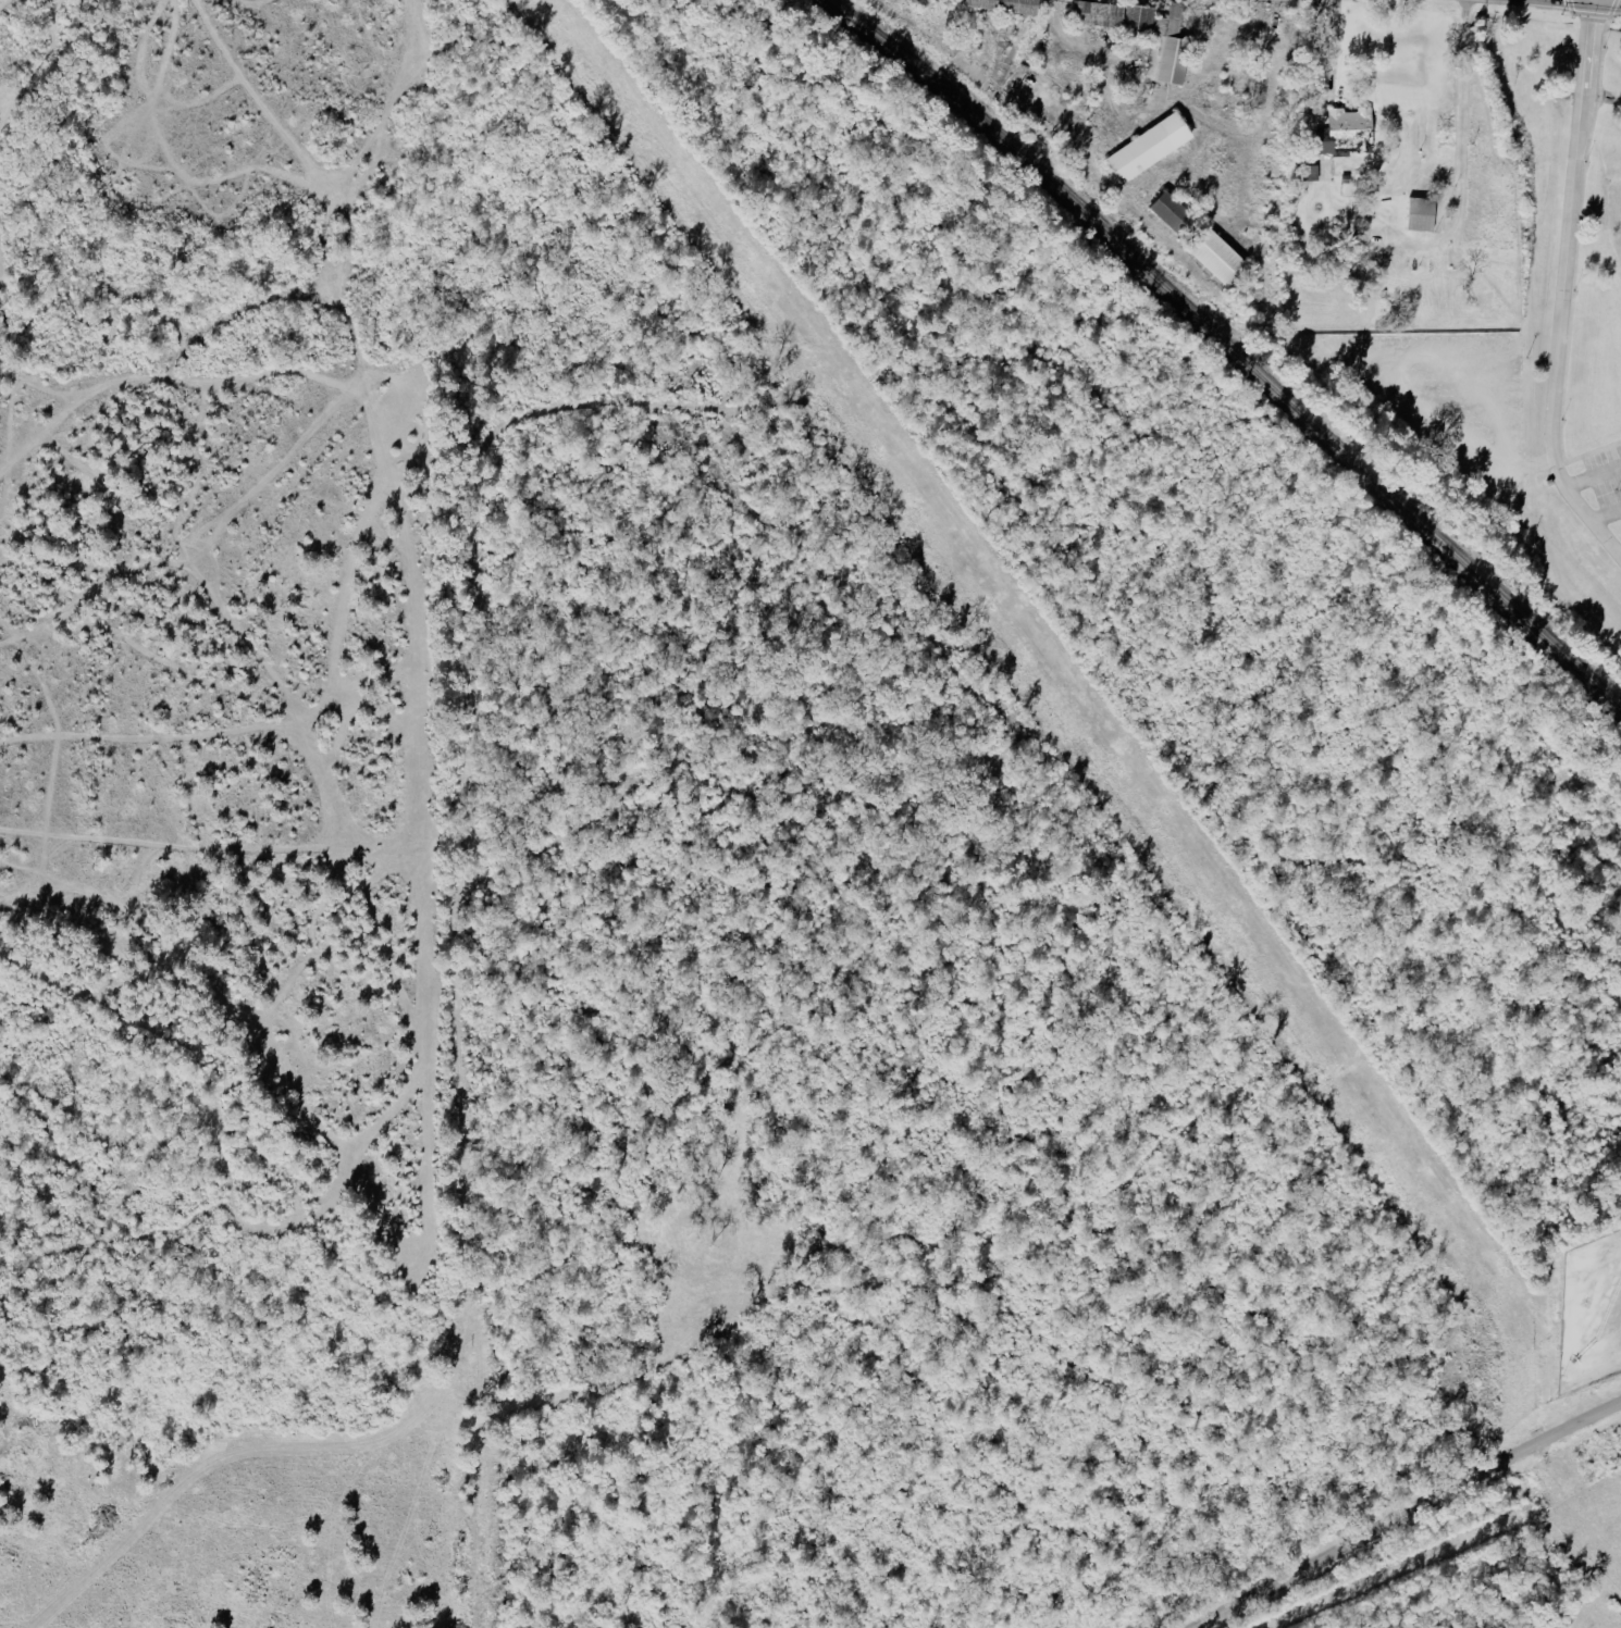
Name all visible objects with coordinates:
building: (1011, 5)
road: (1332, 47)
building: (1177, 61)
building: (1349, 131)
building: (1153, 148)
building: (1177, 214)
building: (1424, 214)
building: (1224, 260)
road: (1563, 288)
railway: (1227, 348)
road: (1398, 377)
road: (1593, 480)
parking lot: (1597, 495)
road: (1606, 513)
road: (1405, 1512)

